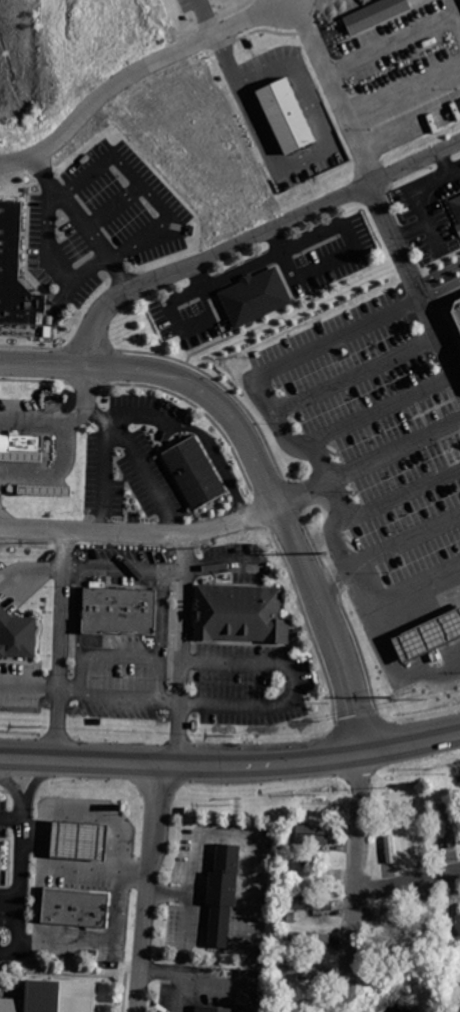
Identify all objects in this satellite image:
road: (294, 0)
road: (455, 10)
building: (374, 14)
road: (207, 17)
road: (390, 39)
road: (135, 69)
road: (402, 82)
road: (335, 89)
building: (287, 115)
road: (409, 121)
road: (304, 159)
road: (447, 161)
road: (142, 186)
road: (420, 186)
road: (111, 204)
parking lot: (430, 208)
building: (455, 211)
parking lot: (102, 220)
road: (81, 223)
road: (410, 229)
road: (435, 237)
road: (301, 242)
road: (231, 246)
road: (50, 257)
road: (322, 263)
building: (16, 270)
road: (230, 273)
road: (437, 274)
parking lot: (314, 276)
road: (414, 282)
road: (441, 289)
road: (185, 294)
building: (255, 296)
road: (443, 301)
road: (197, 319)
building: (455, 320)
road: (339, 336)
road: (44, 362)
road: (126, 366)
road: (356, 373)
road: (378, 409)
road: (75, 416)
road: (140, 417)
road: (51, 427)
road: (285, 433)
parking lot: (374, 439)
road: (65, 443)
building: (21, 448)
parking lot: (132, 461)
road: (217, 461)
road: (139, 463)
building: (195, 472)
road: (104, 474)
building: (48, 491)
road: (401, 492)
road: (272, 501)
road: (240, 521)
road: (403, 538)
road: (336, 543)
road: (125, 568)
road: (30, 569)
road: (415, 583)
building: (121, 609)
road: (78, 610)
building: (242, 615)
building: (18, 632)
road: (159, 634)
building: (428, 635)
gas station: (428, 635)
road: (62, 645)
road: (183, 647)
building: (430, 651)
road: (118, 655)
road: (398, 667)
road: (76, 673)
road: (289, 683)
road: (30, 684)
road: (68, 692)
road: (116, 695)
road: (169, 698)
road: (353, 709)
road: (231, 765)
road: (31, 783)
road: (12, 790)
road: (99, 811)
road: (10, 818)
building: (448, 825)
road: (228, 833)
building: (312, 833)
building: (418, 835)
building: (78, 838)
building: (388, 841)
building: (2, 860)
road: (56, 865)
building: (315, 871)
road: (353, 884)
road: (406, 884)
road: (145, 887)
road: (17, 888)
building: (221, 891)
road: (167, 892)
road: (37, 902)
building: (312, 902)
building: (75, 905)
building: (308, 936)
building: (392, 944)
road: (89, 945)
building: (304, 968)
road: (161, 971)
road: (217, 976)
road: (182, 978)
parking lot: (177, 997)
building: (54, 998)
road: (180, 998)
building: (214, 1010)

